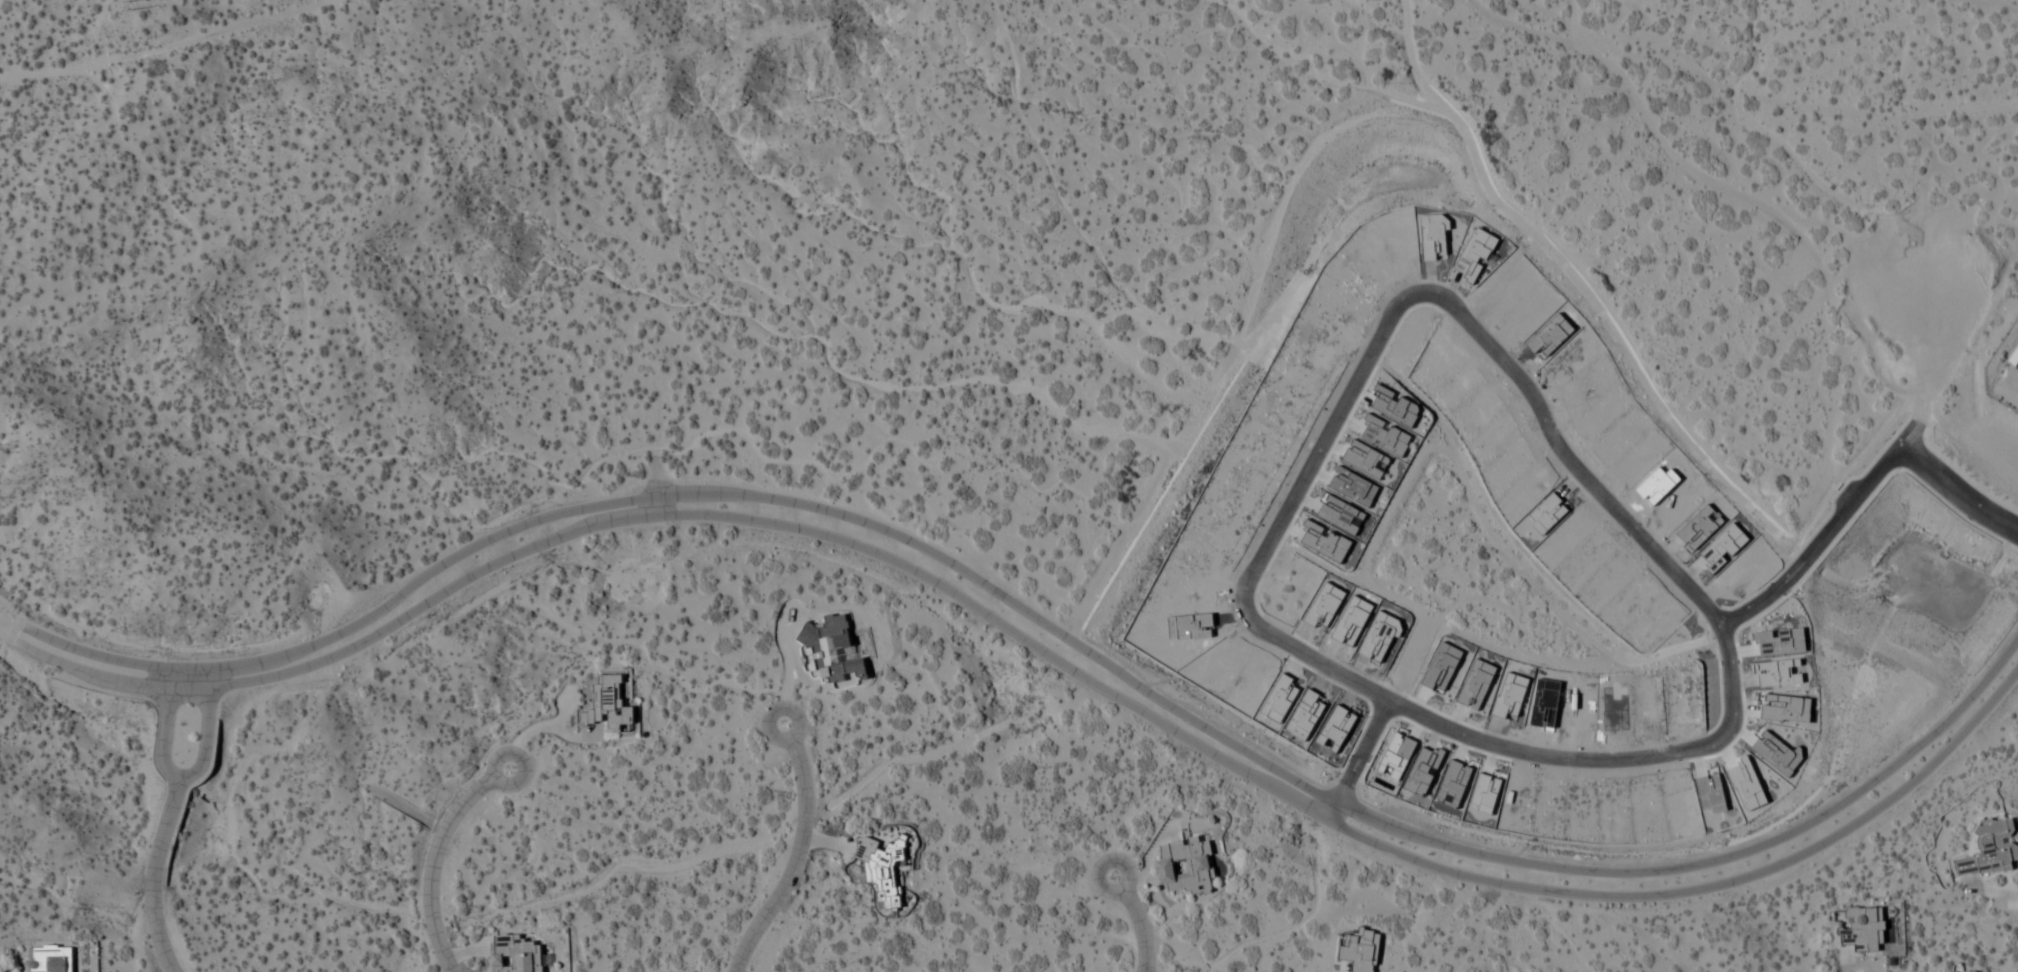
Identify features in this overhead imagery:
road: (217, 43)
building: (2013, 356)
road: (1956, 491)
road: (1624, 520)
road: (1824, 532)
road: (1041, 623)
road: (1035, 648)
building: (608, 703)
road: (164, 728)
road: (530, 731)
road: (207, 732)
road: (1357, 759)
building: (1990, 849)
road: (796, 853)
road: (430, 855)
building: (1185, 865)
building: (882, 868)
road: (153, 877)
road: (1136, 922)
building: (1862, 928)
building: (514, 954)
building: (49, 958)
building: (1961, 971)

